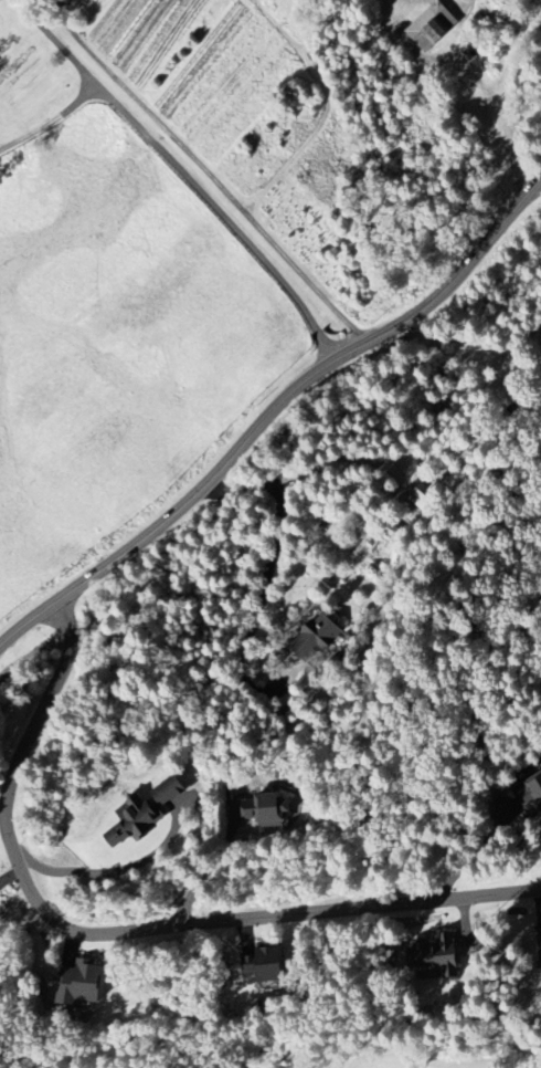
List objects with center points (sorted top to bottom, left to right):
building: (433, 27)
road: (205, 174)
road: (174, 179)
road: (268, 410)
building: (421, 500)
road: (266, 582)
building: (319, 637)
building: (529, 796)
building: (272, 809)
building: (150, 810)
road: (213, 862)
road: (120, 929)
building: (540, 947)
building: (439, 957)
building: (275, 963)
building: (82, 983)

